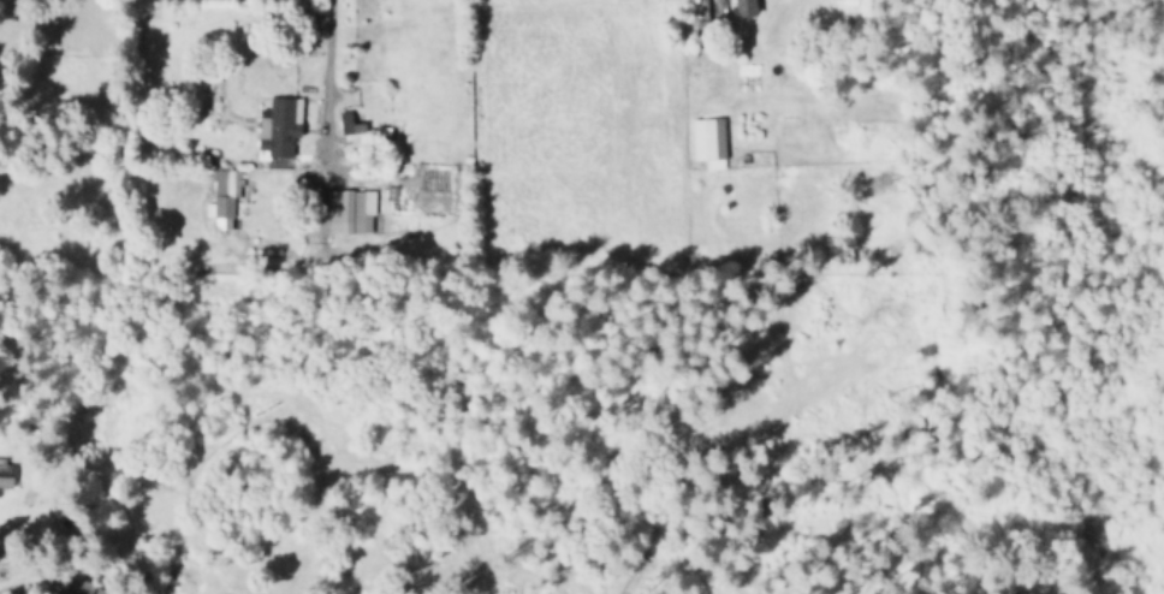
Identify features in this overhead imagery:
building: (744, 7)
road: (475, 46)
road: (321, 79)
road: (571, 111)
building: (278, 126)
building: (707, 142)
building: (220, 197)
building: (349, 210)
road: (844, 239)
building: (6, 474)
building: (81, 587)

